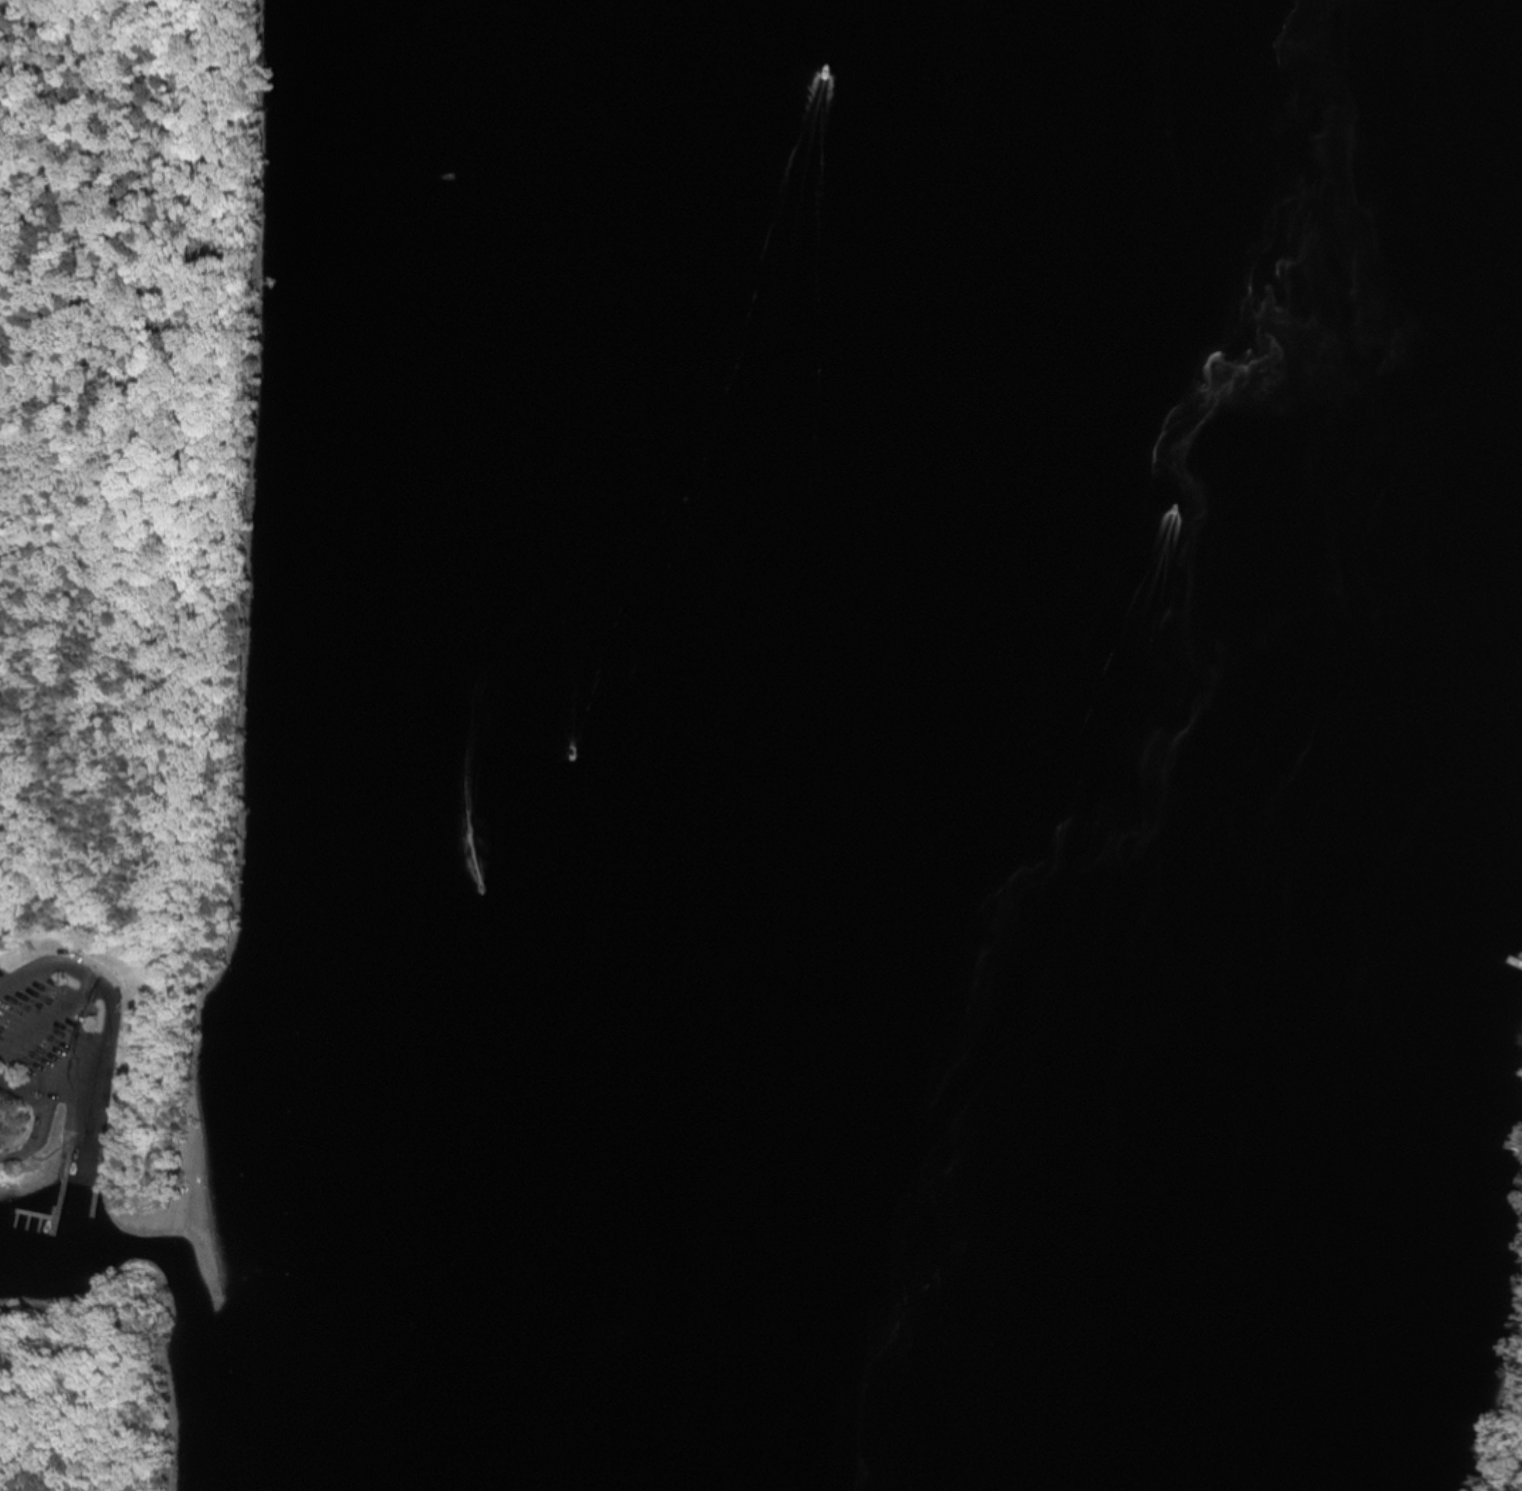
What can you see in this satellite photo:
road: (5, 2)
park: (122, 673)
river: (1011, 746)
road: (106, 988)

